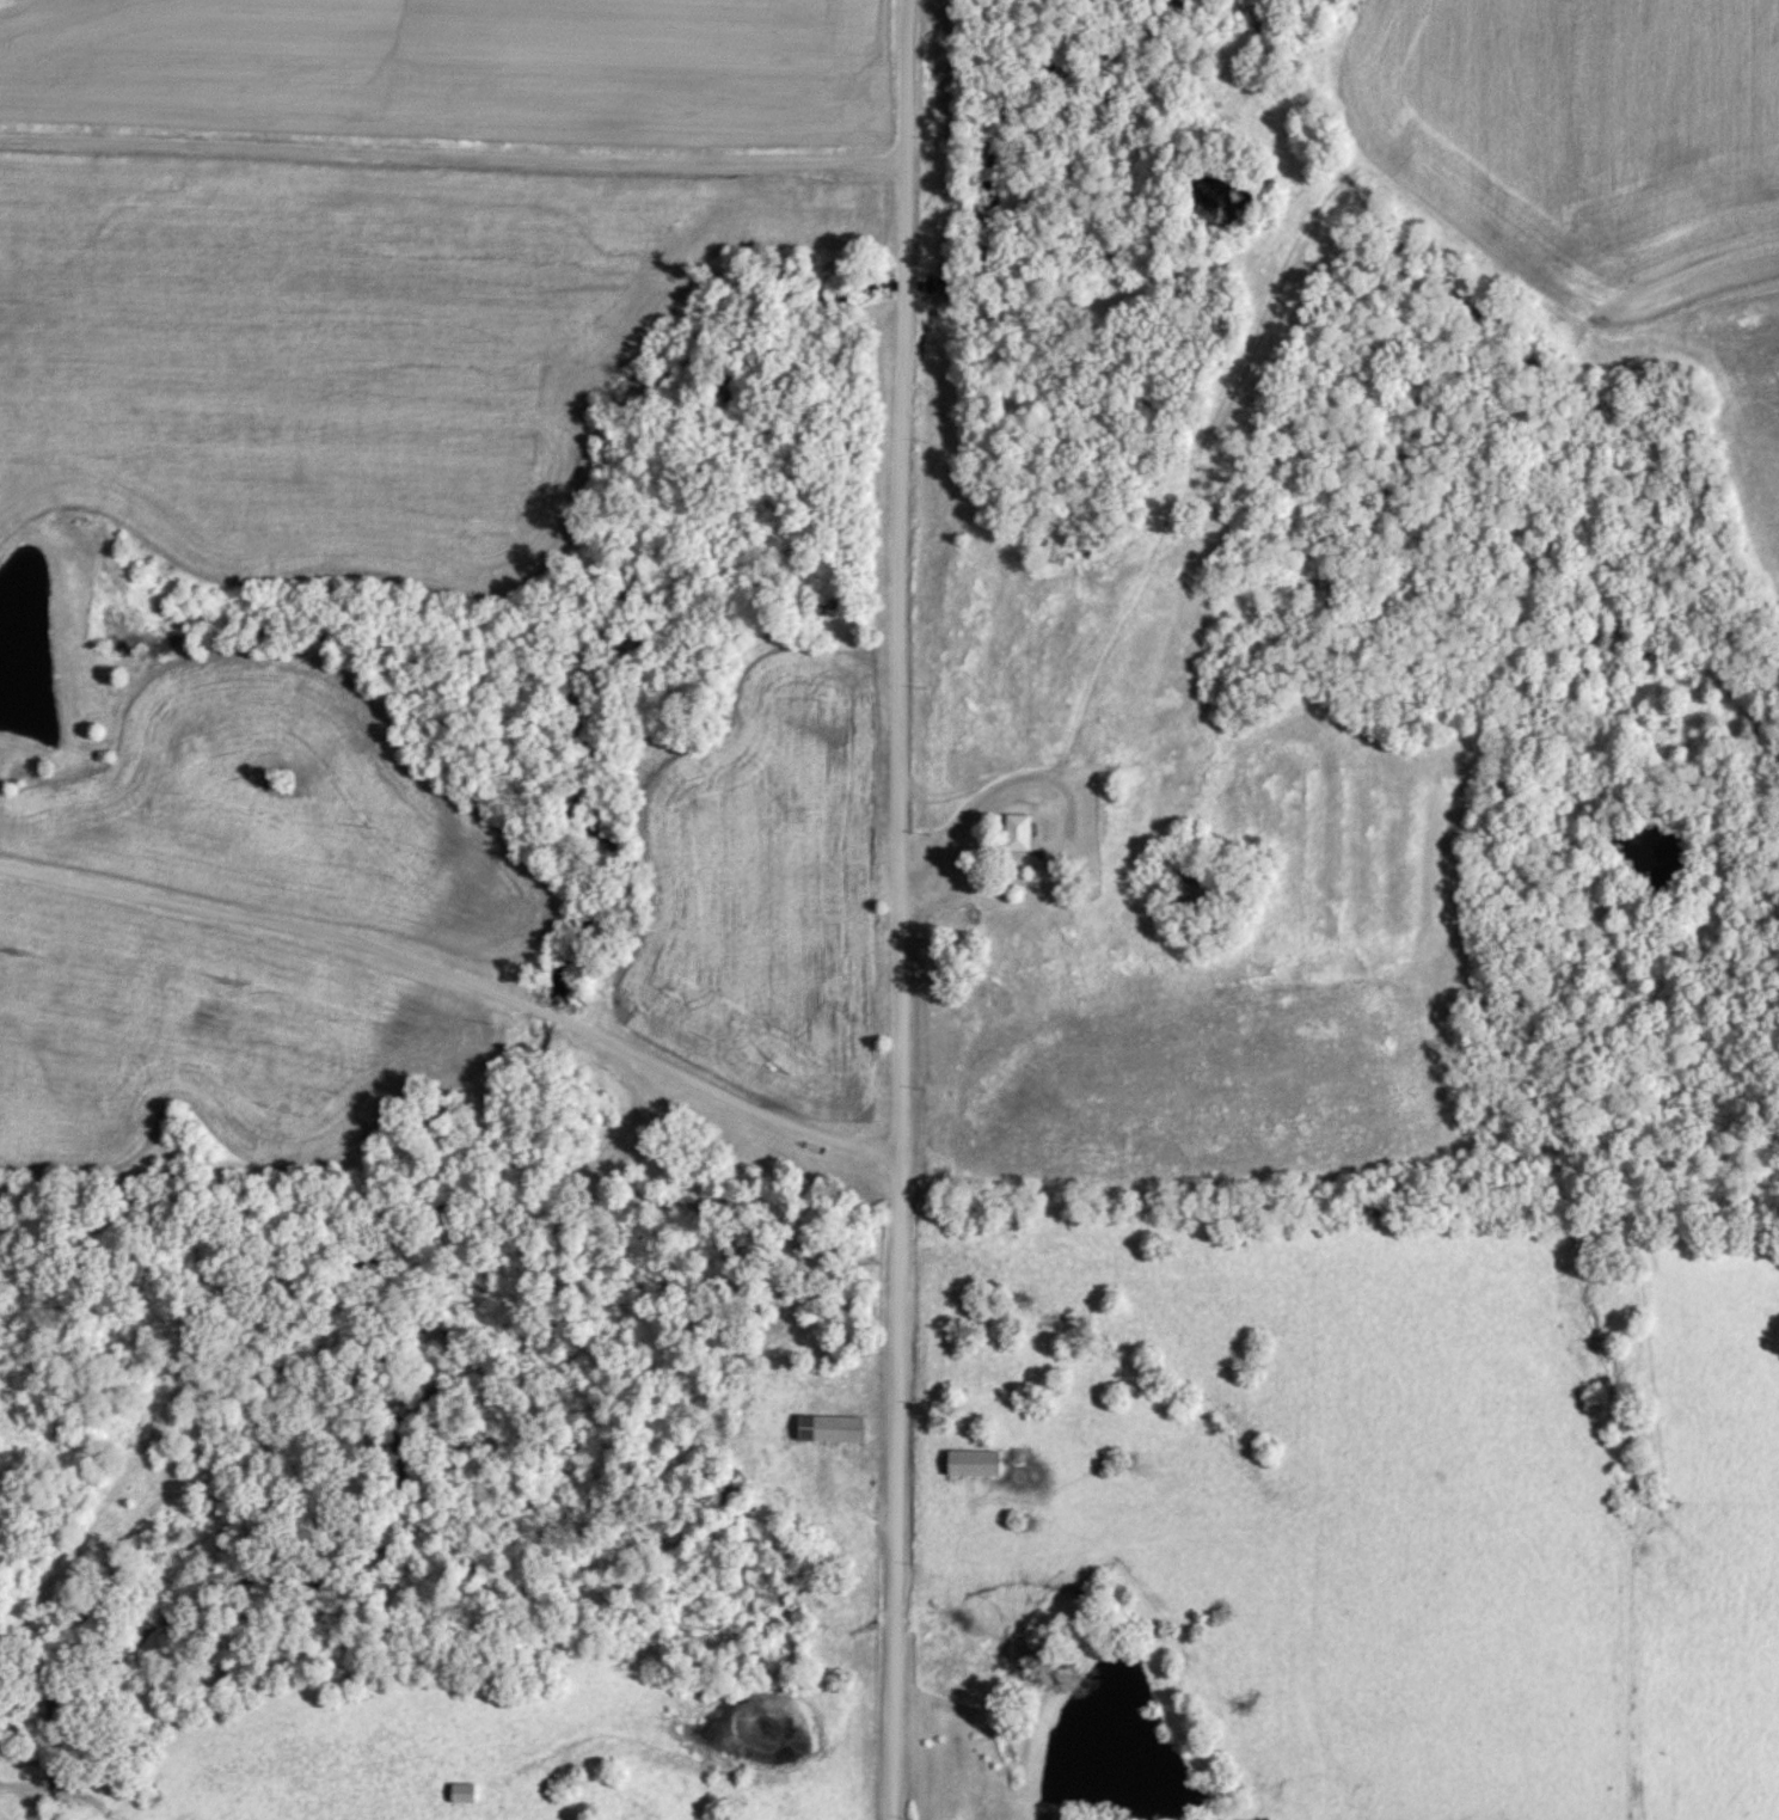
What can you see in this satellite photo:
road: (599, 160)
road: (987, 791)
building: (1020, 833)
road: (897, 909)
road: (460, 974)
building: (842, 1430)
building: (977, 1464)
building: (467, 1794)

